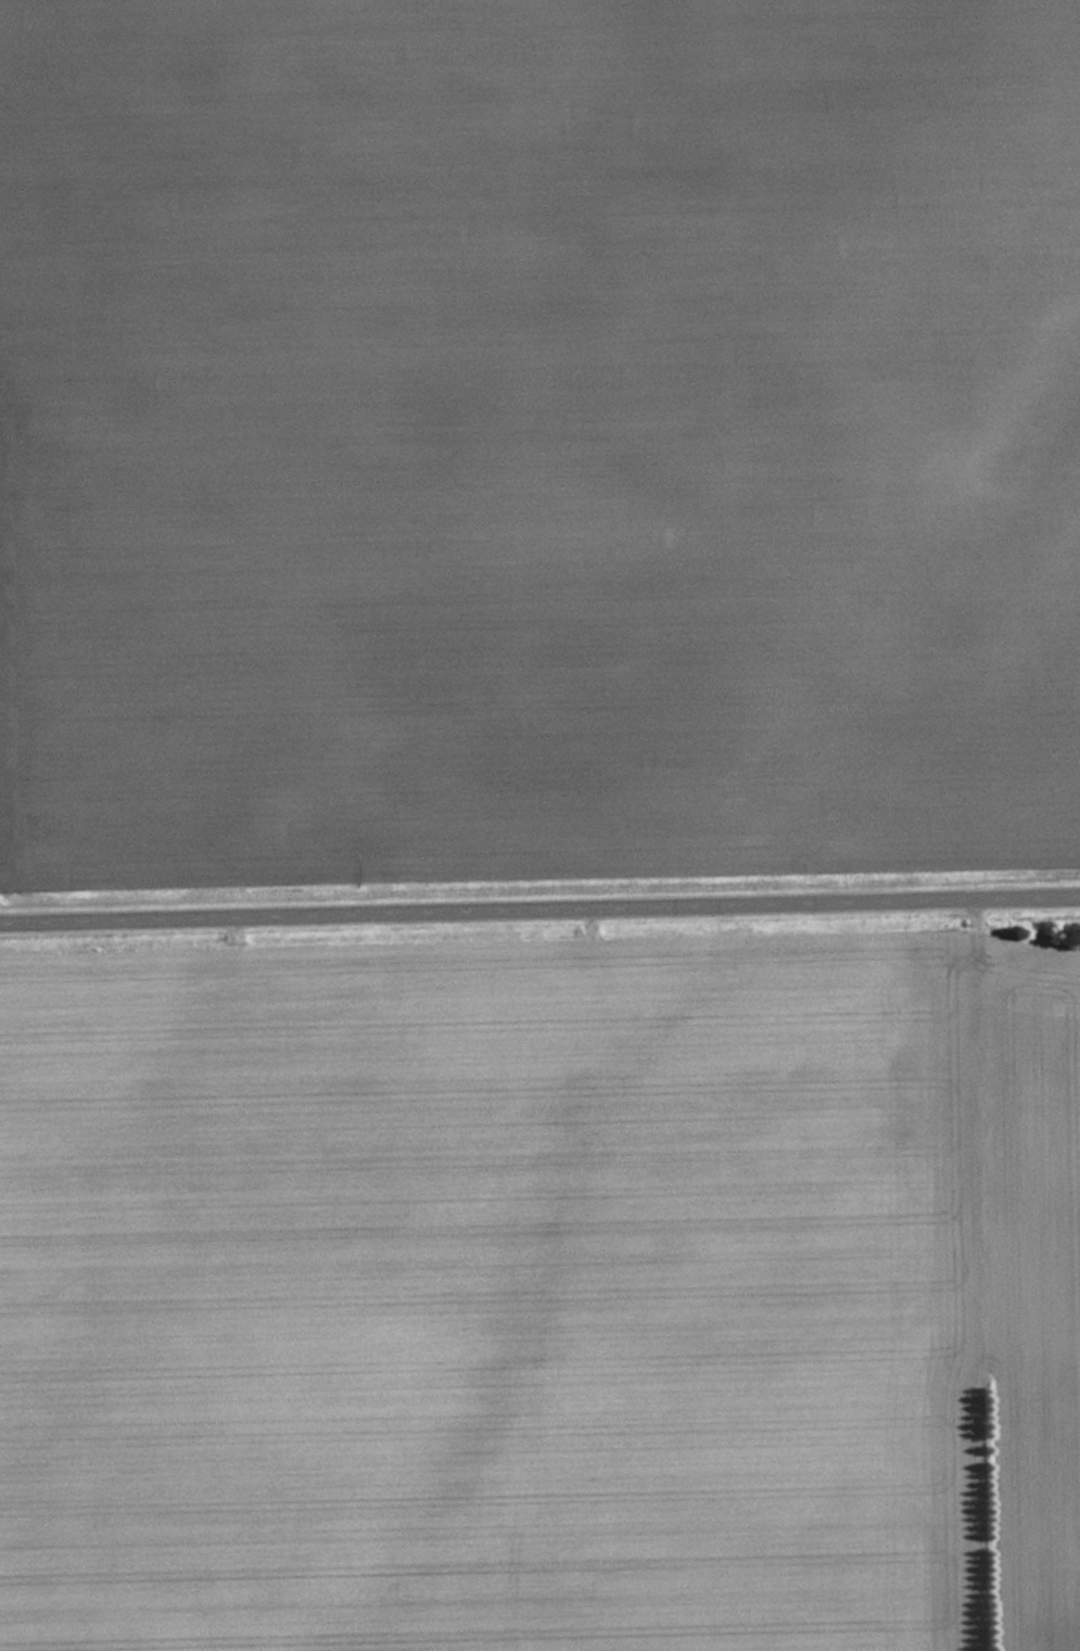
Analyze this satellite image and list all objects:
road: (539, 902)

